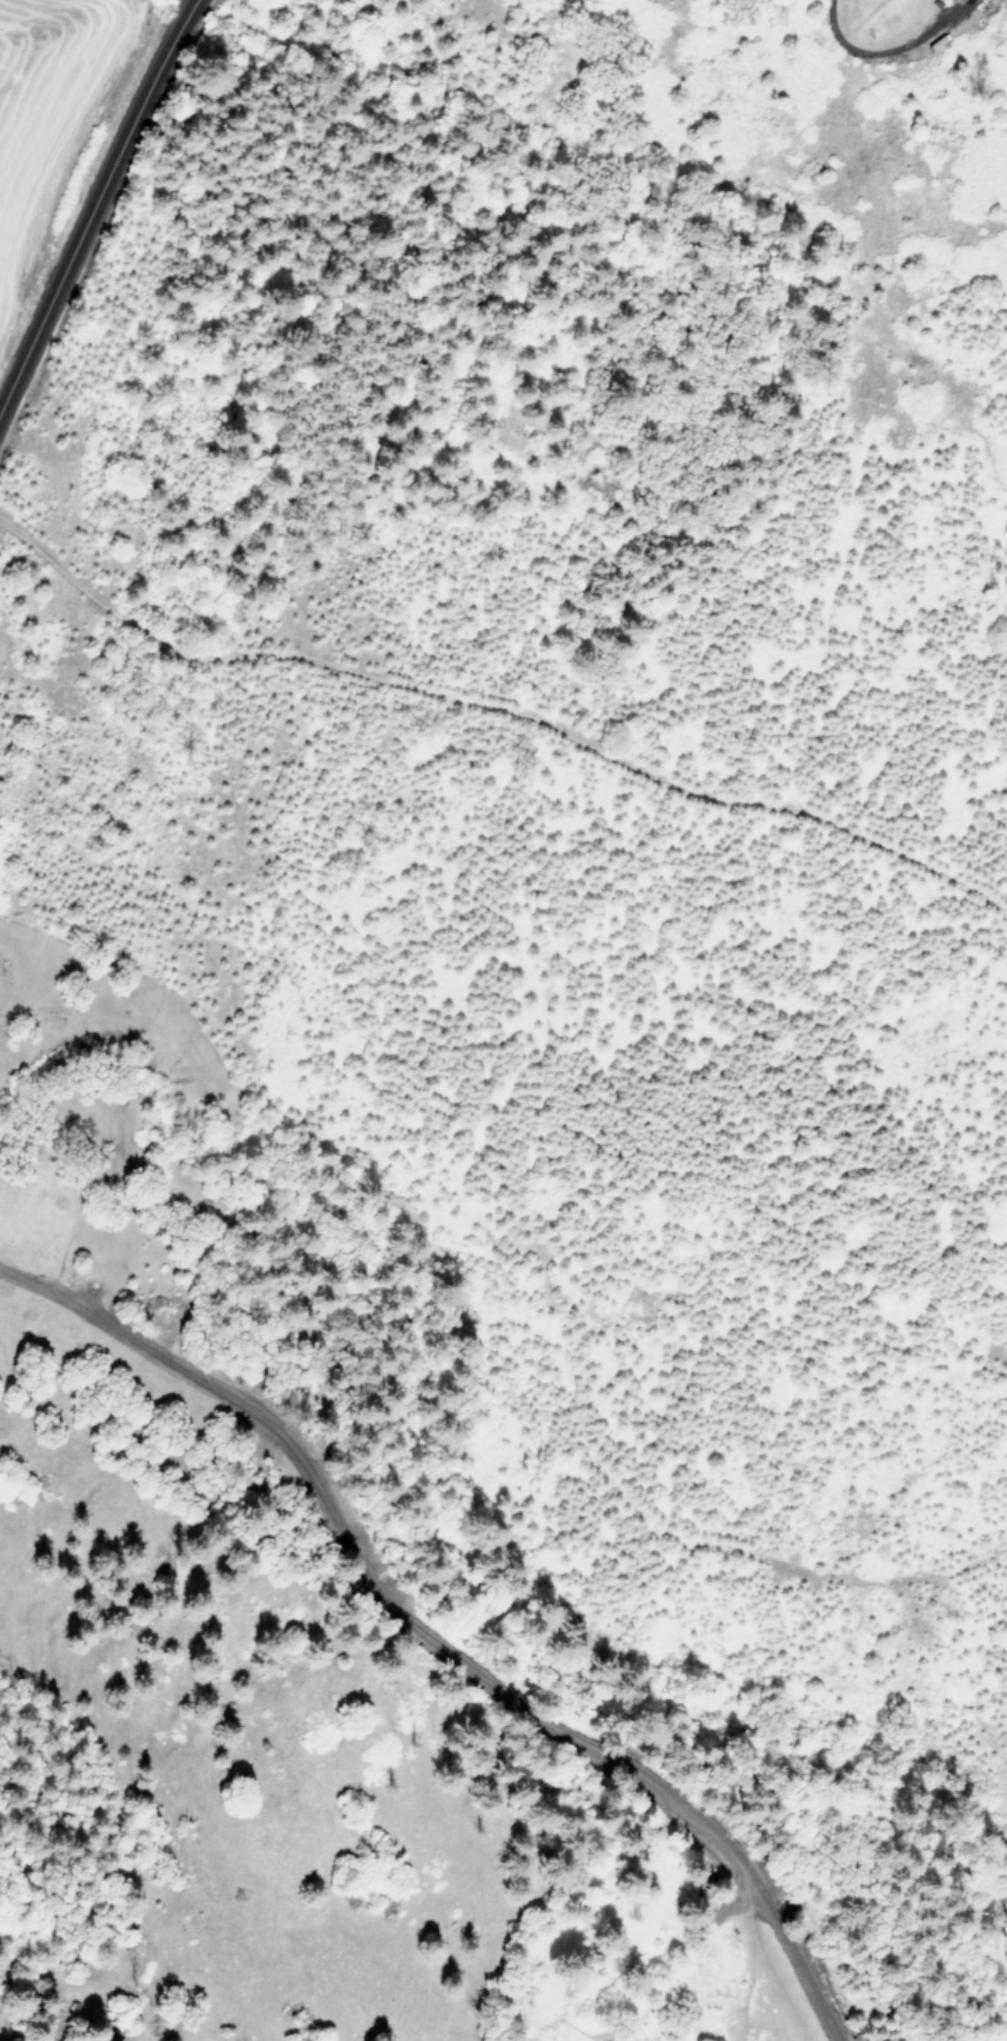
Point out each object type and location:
road: (888, 48)
crop: (56, 112)
road: (96, 204)

